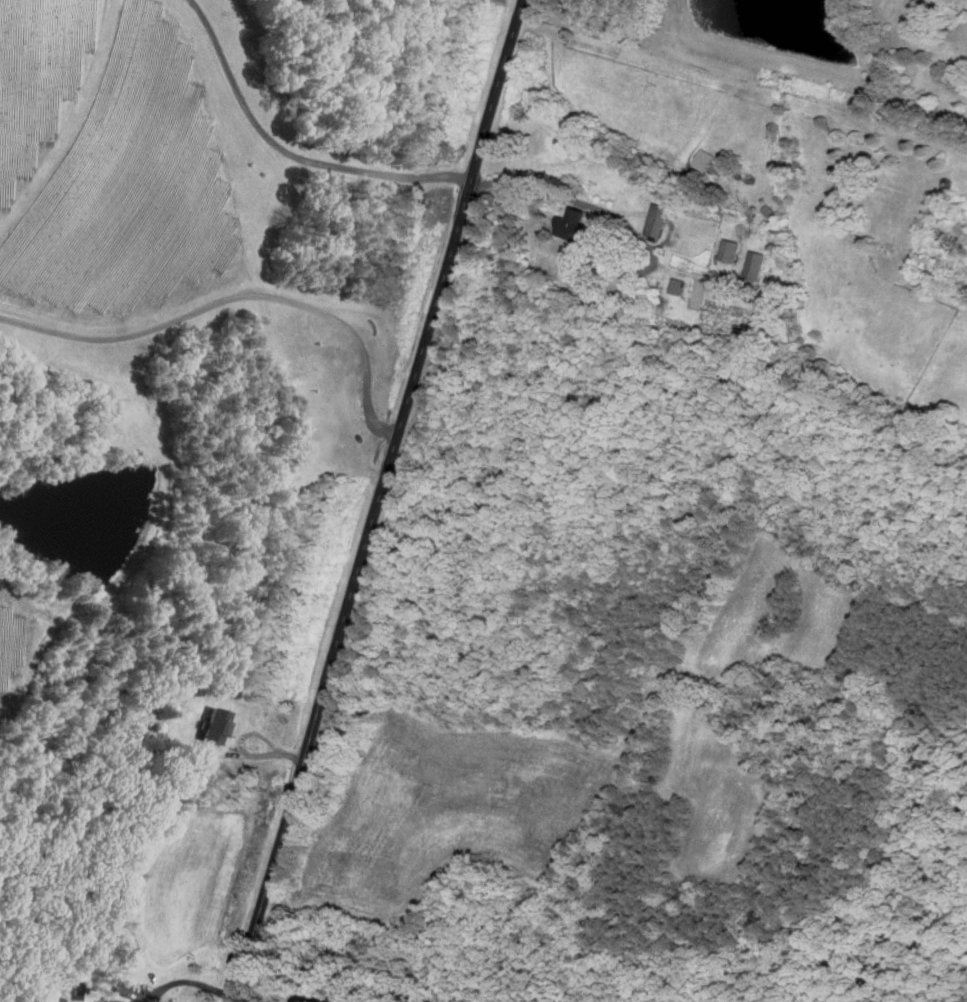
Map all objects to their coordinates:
building: (705, 159)
building: (657, 220)
building: (575, 223)
building: (730, 249)
building: (756, 263)
building: (679, 285)
road: (241, 294)
road: (377, 500)
building: (216, 725)
building: (113, 999)

